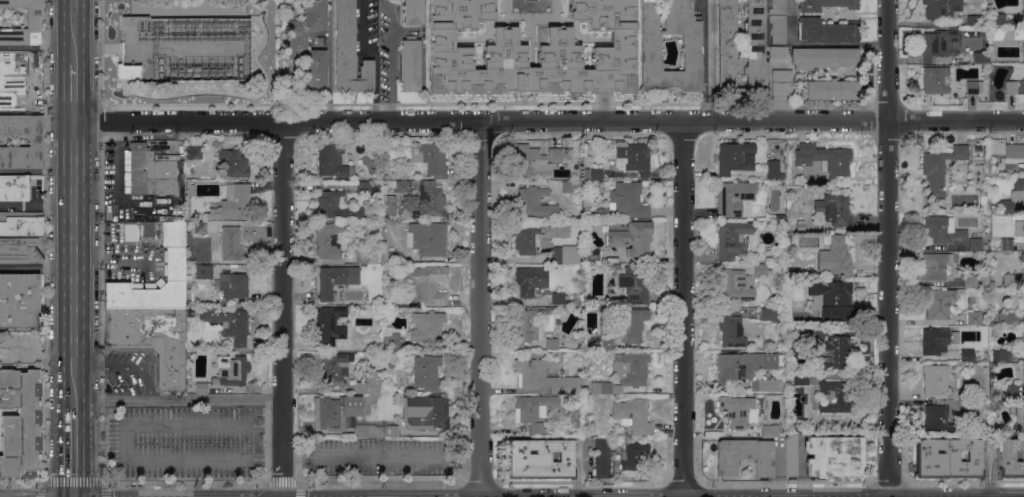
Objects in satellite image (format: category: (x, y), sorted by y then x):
building: (825, 4)
building: (778, 8)
building: (942, 9)
building: (412, 12)
building: (1023, 13)
building: (998, 18)
building: (977, 20)
building: (34, 22)
building: (778, 29)
road: (73, 31)
building: (827, 31)
building: (1007, 33)
building: (296, 39)
building: (320, 40)
building: (938, 43)
building: (727, 44)
power substation: (184, 45)
building: (504, 46)
road: (37, 47)
building: (349, 51)
building: (776, 52)
building: (1023, 52)
building: (691, 53)
building: (823, 57)
building: (980, 57)
road: (390, 63)
building: (410, 64)
building: (128, 71)
road: (710, 71)
building: (37, 76)
building: (936, 79)
building: (782, 82)
building: (974, 86)
building: (1011, 87)
building: (829, 89)
road: (74, 92)
building: (994, 97)
road: (548, 119)
building: (36, 141)
building: (194, 149)
building: (1013, 152)
building: (559, 154)
building: (633, 157)
building: (730, 157)
building: (753, 157)
building: (431, 158)
building: (824, 158)
building: (385, 160)
building: (333, 161)
building: (530, 161)
building: (233, 163)
building: (939, 168)
building: (151, 172)
building: (593, 173)
building: (772, 173)
building: (362, 186)
building: (401, 186)
building: (567, 186)
building: (1019, 186)
building: (14, 187)
building: (593, 189)
building: (827, 190)
building: (733, 197)
building: (425, 201)
building: (625, 201)
building: (233, 202)
building: (533, 203)
road: (37, 205)
building: (334, 205)
building: (1007, 206)
building: (834, 209)
building: (21, 223)
building: (800, 225)
building: (200, 227)
building: (1019, 228)
building: (942, 229)
building: (137, 230)
building: (629, 236)
building: (428, 238)
building: (731, 238)
building: (328, 240)
building: (230, 244)
building: (975, 244)
building: (1002, 244)
building: (543, 245)
building: (984, 246)
road: (887, 248)
building: (22, 250)
building: (839, 254)
building: (592, 255)
road: (112, 256)
building: (361, 256)
building: (391, 257)
building: (1022, 257)
building: (803, 263)
road: (74, 264)
building: (175, 264)
building: (937, 266)
building: (616, 267)
road: (37, 268)
building: (781, 268)
building: (760, 269)
building: (204, 271)
building: (1013, 279)
building: (335, 280)
building: (530, 280)
building: (970, 281)
building: (233, 284)
building: (426, 284)
building: (635, 284)
building: (736, 285)
building: (188, 294)
building: (557, 299)
building: (831, 299)
building: (19, 300)
building: (939, 303)
building: (597, 305)
road: (480, 308)
road: (683, 308)
road: (282, 309)
building: (770, 314)
building: (974, 318)
building: (1008, 318)
building: (228, 323)
building: (631, 324)
building: (329, 325)
building: (426, 326)
building: (527, 326)
building: (731, 331)
building: (805, 333)
building: (152, 339)
building: (391, 341)
building: (937, 341)
building: (607, 343)
building: (552, 344)
building: (835, 352)
building: (1002, 354)
building: (971, 355)
building: (561, 359)
building: (391, 365)
building: (742, 365)
road: (123, 367)
building: (334, 369)
building: (231, 370)
building: (428, 373)
building: (625, 373)
building: (1023, 375)
building: (543, 377)
building: (800, 378)
building: (936, 379)
building: (369, 383)
building: (767, 384)
building: (201, 387)
building: (585, 389)
building: (1012, 389)
building: (834, 396)
road: (177, 399)
building: (994, 402)
building: (969, 406)
building: (533, 407)
building: (425, 411)
building: (738, 411)
building: (632, 415)
building: (343, 417)
building: (1023, 419)
building: (939, 420)
building: (20, 423)
road: (190, 424)
road: (269, 424)
building: (797, 428)
building: (389, 429)
building: (770, 430)
parking lot: (181, 441)
road: (123, 443)
road: (74, 452)
road: (381, 452)
parking lot: (373, 454)
building: (634, 455)
building: (791, 455)
building: (744, 456)
building: (833, 456)
building: (602, 458)
building: (948, 458)
building: (1010, 458)
building: (541, 459)
road: (268, 461)
road: (189, 462)
road: (289, 481)
road: (71, 483)

